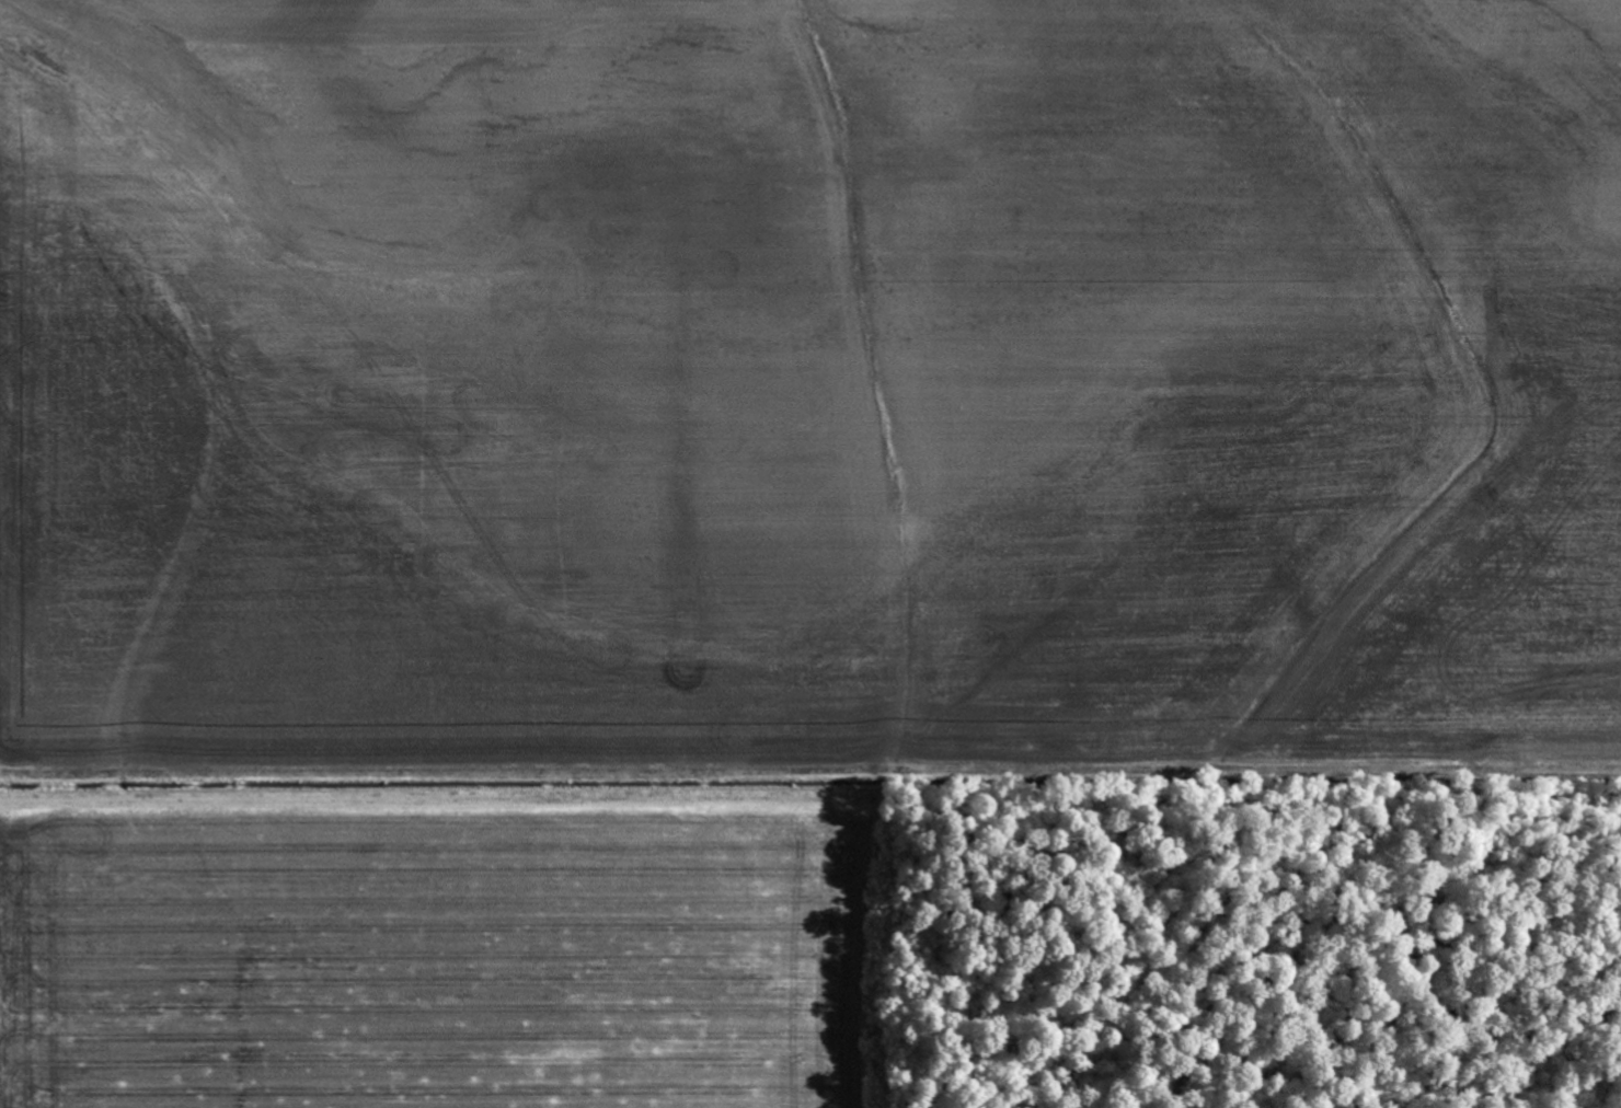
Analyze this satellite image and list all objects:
park: (1269, 947)

